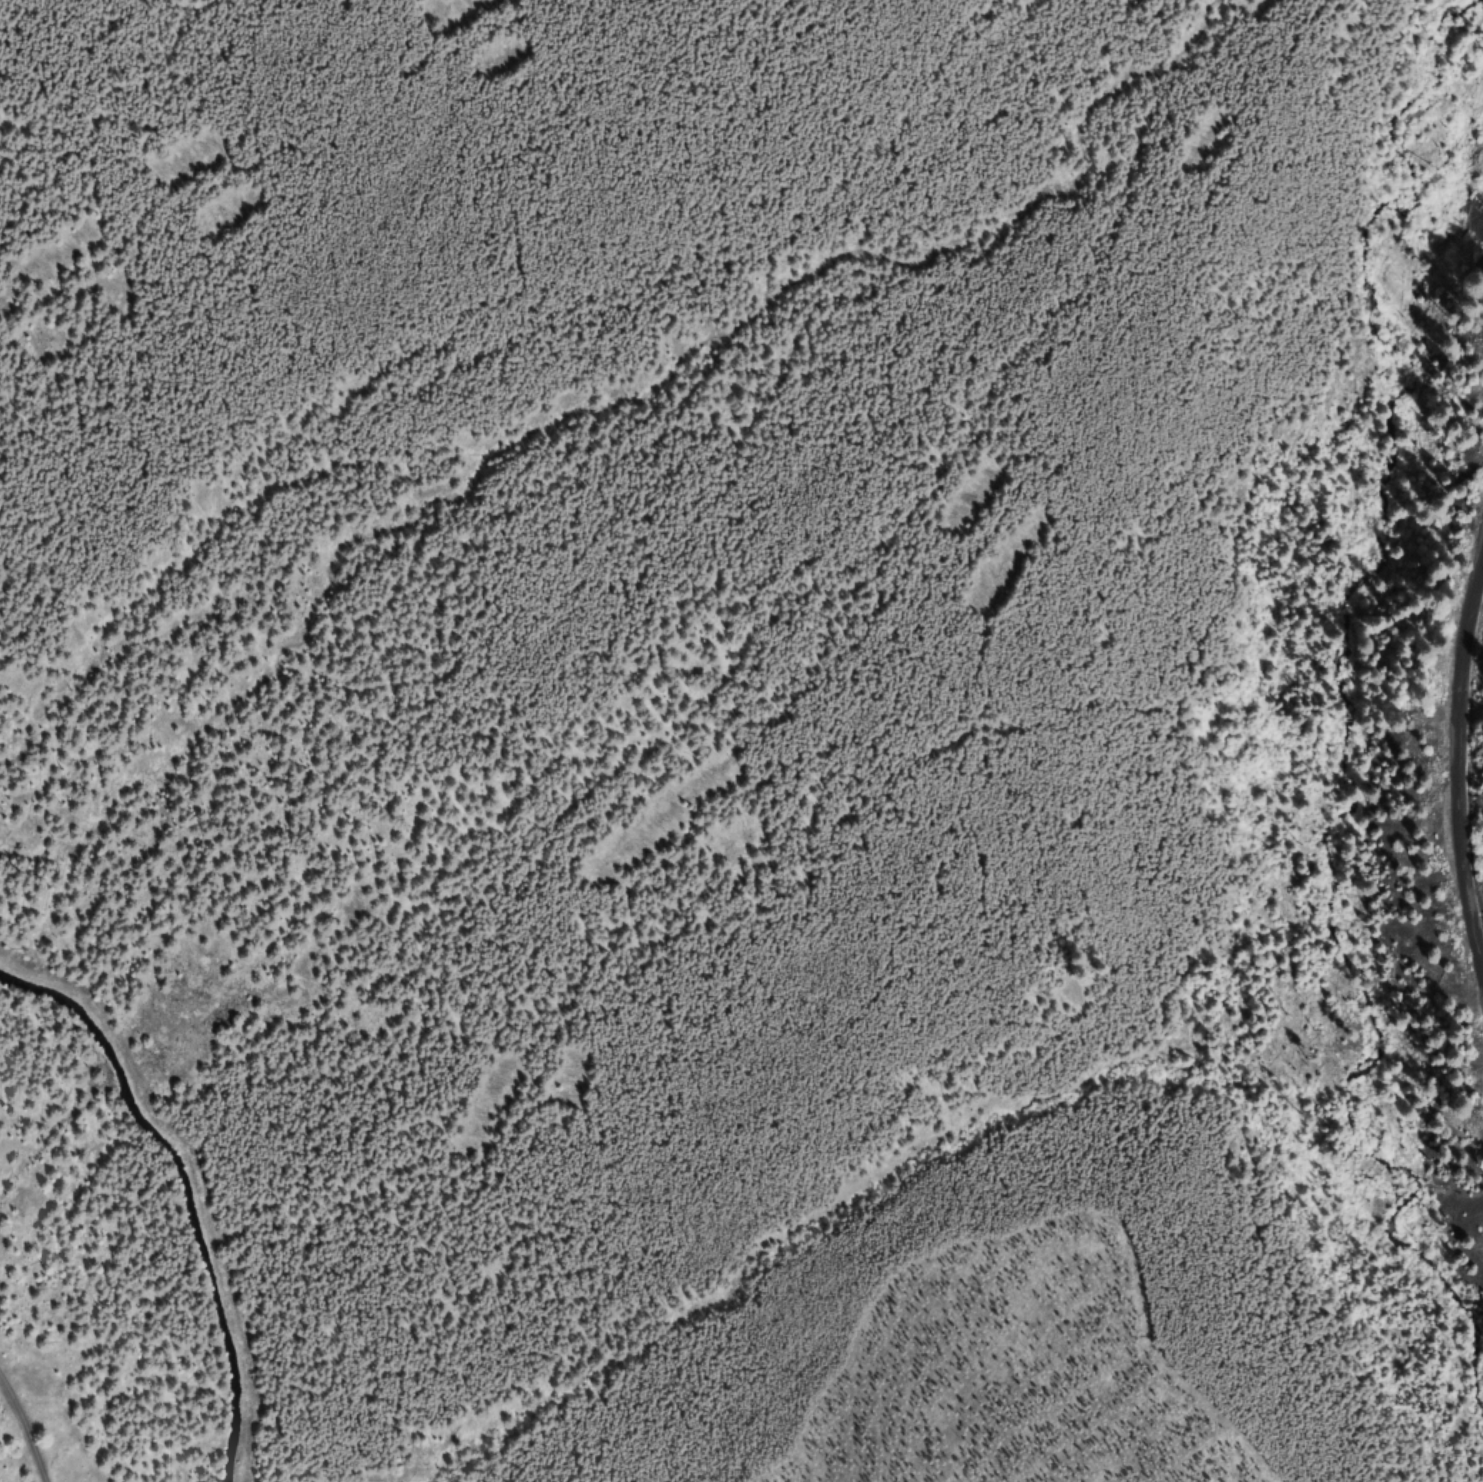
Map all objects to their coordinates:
road: (1432, 672)
road: (37, 1438)

